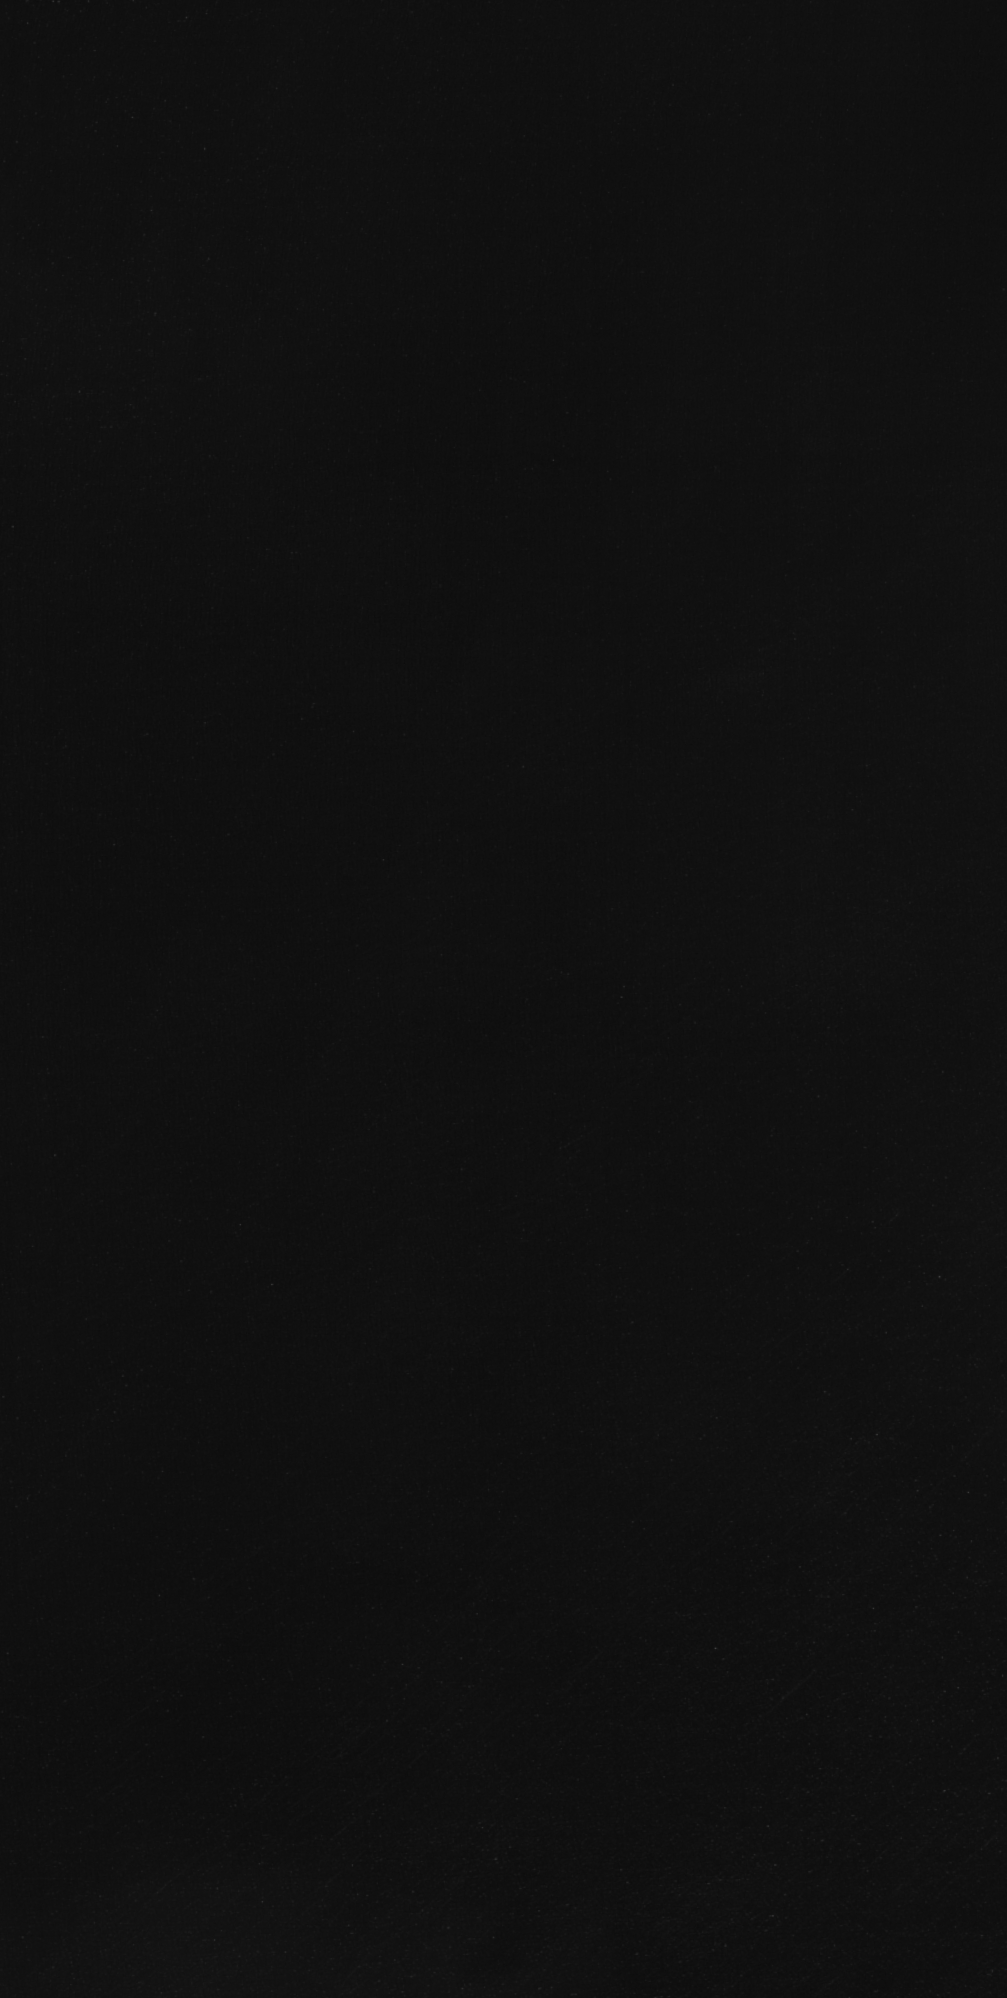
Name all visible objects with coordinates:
river: (517, 356)

